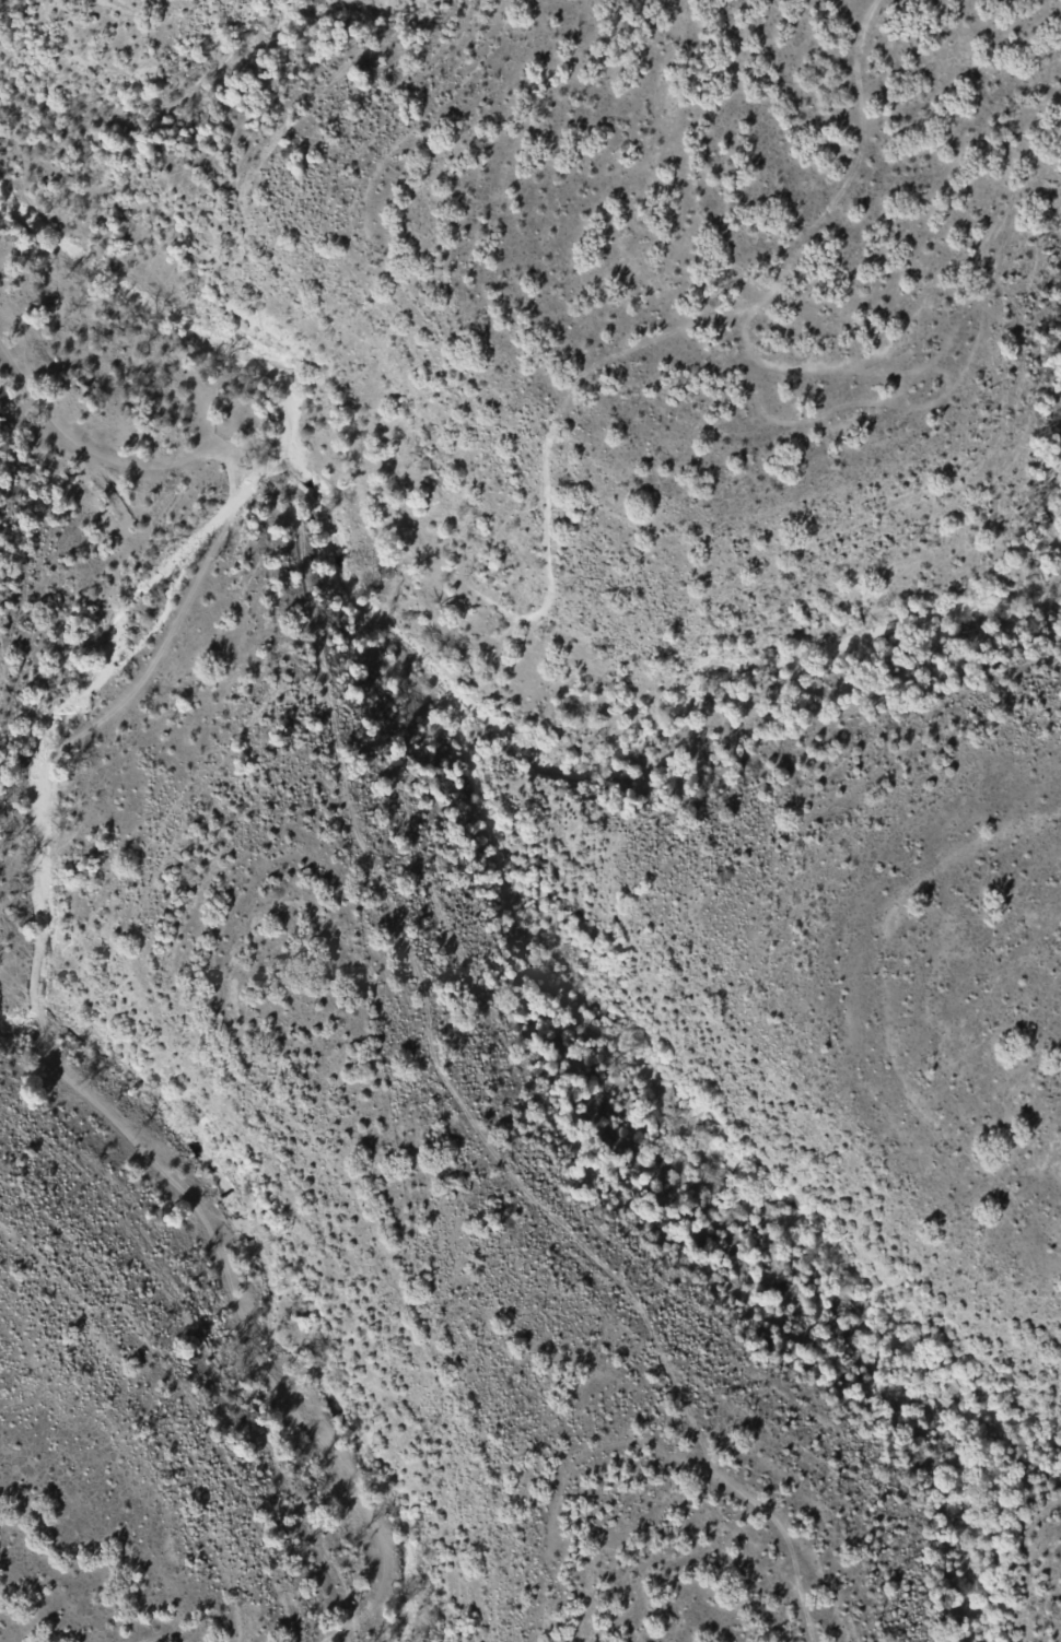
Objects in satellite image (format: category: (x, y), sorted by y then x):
road: (5, 261)

